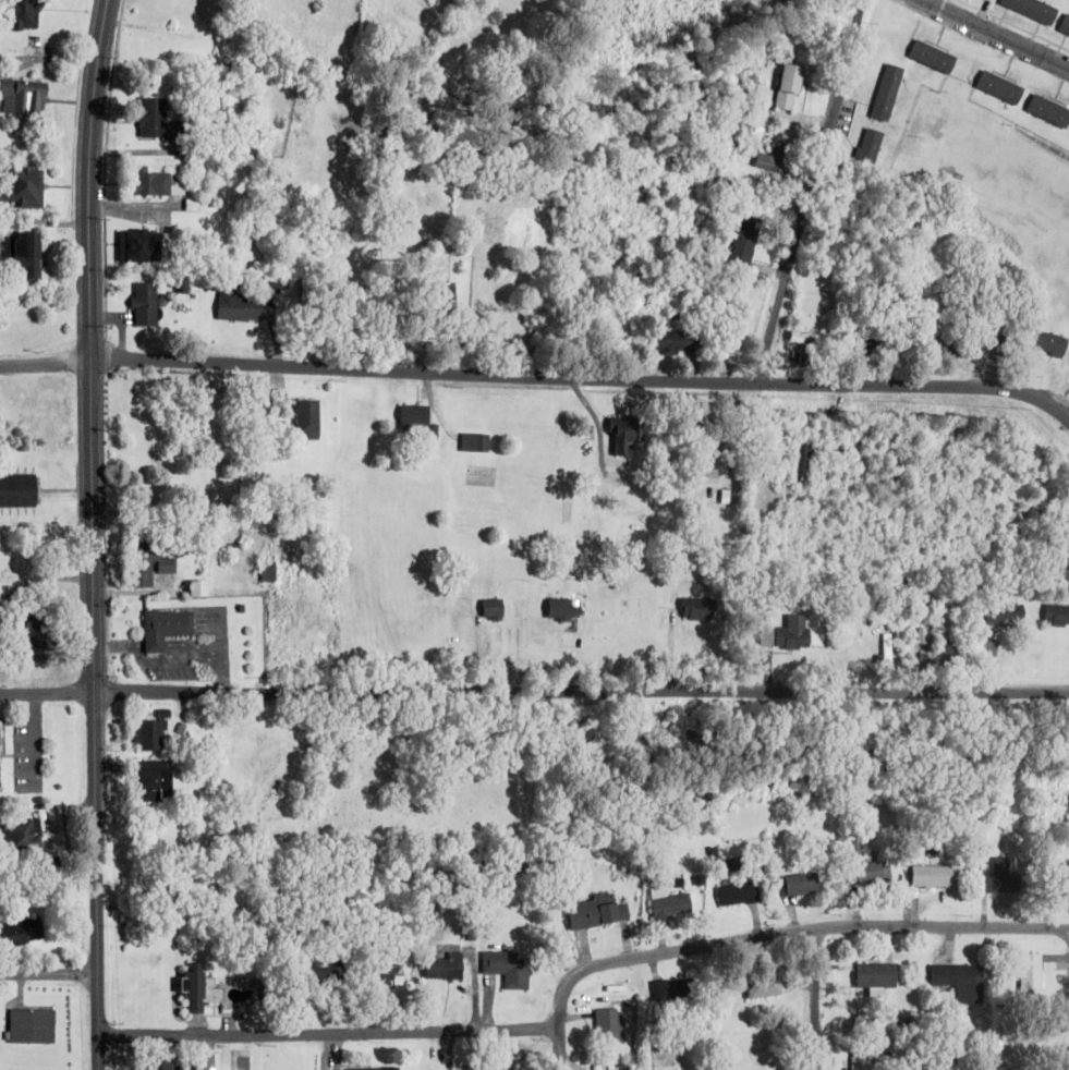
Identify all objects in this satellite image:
building: (1030, 10)
building: (17, 14)
building: (1062, 26)
road: (988, 36)
building: (930, 57)
building: (996, 87)
building: (783, 88)
building: (884, 93)
building: (19, 98)
building: (1047, 111)
building: (154, 121)
building: (867, 146)
building: (772, 160)
building: (730, 165)
building: (151, 183)
building: (17, 187)
road: (809, 191)
building: (741, 242)
building: (143, 246)
building: (20, 257)
building: (142, 304)
building: (233, 305)
building: (671, 342)
building: (1047, 343)
building: (870, 348)
building: (938, 348)
building: (803, 349)
road: (45, 362)
road: (583, 376)
building: (304, 420)
building: (413, 421)
building: (620, 435)
building: (472, 443)
building: (807, 460)
building: (713, 464)
building: (16, 491)
building: (1065, 526)
road: (90, 534)
building: (144, 566)
building: (192, 589)
building: (488, 609)
building: (695, 609)
building: (1001, 615)
building: (1055, 616)
building: (161, 629)
building: (29, 632)
building: (788, 634)
road: (580, 691)
road: (46, 694)
building: (145, 737)
building: (145, 781)
building: (17, 836)
building: (864, 868)
building: (931, 877)
building: (995, 884)
building: (1052, 884)
building: (797, 885)
building: (732, 895)
building: (664, 904)
building: (592, 913)
building: (19, 934)
building: (439, 968)
building: (503, 969)
road: (48, 972)
building: (312, 973)
building: (1028, 975)
building: (873, 976)
building: (380, 981)
road: (567, 982)
building: (957, 982)
building: (761, 988)
building: (195, 990)
building: (669, 990)
road: (813, 999)
building: (606, 1025)
building: (29, 1026)
road: (557, 1049)
building: (859, 1059)
building: (161, 1065)
building: (370, 1069)
building: (467, 1069)

